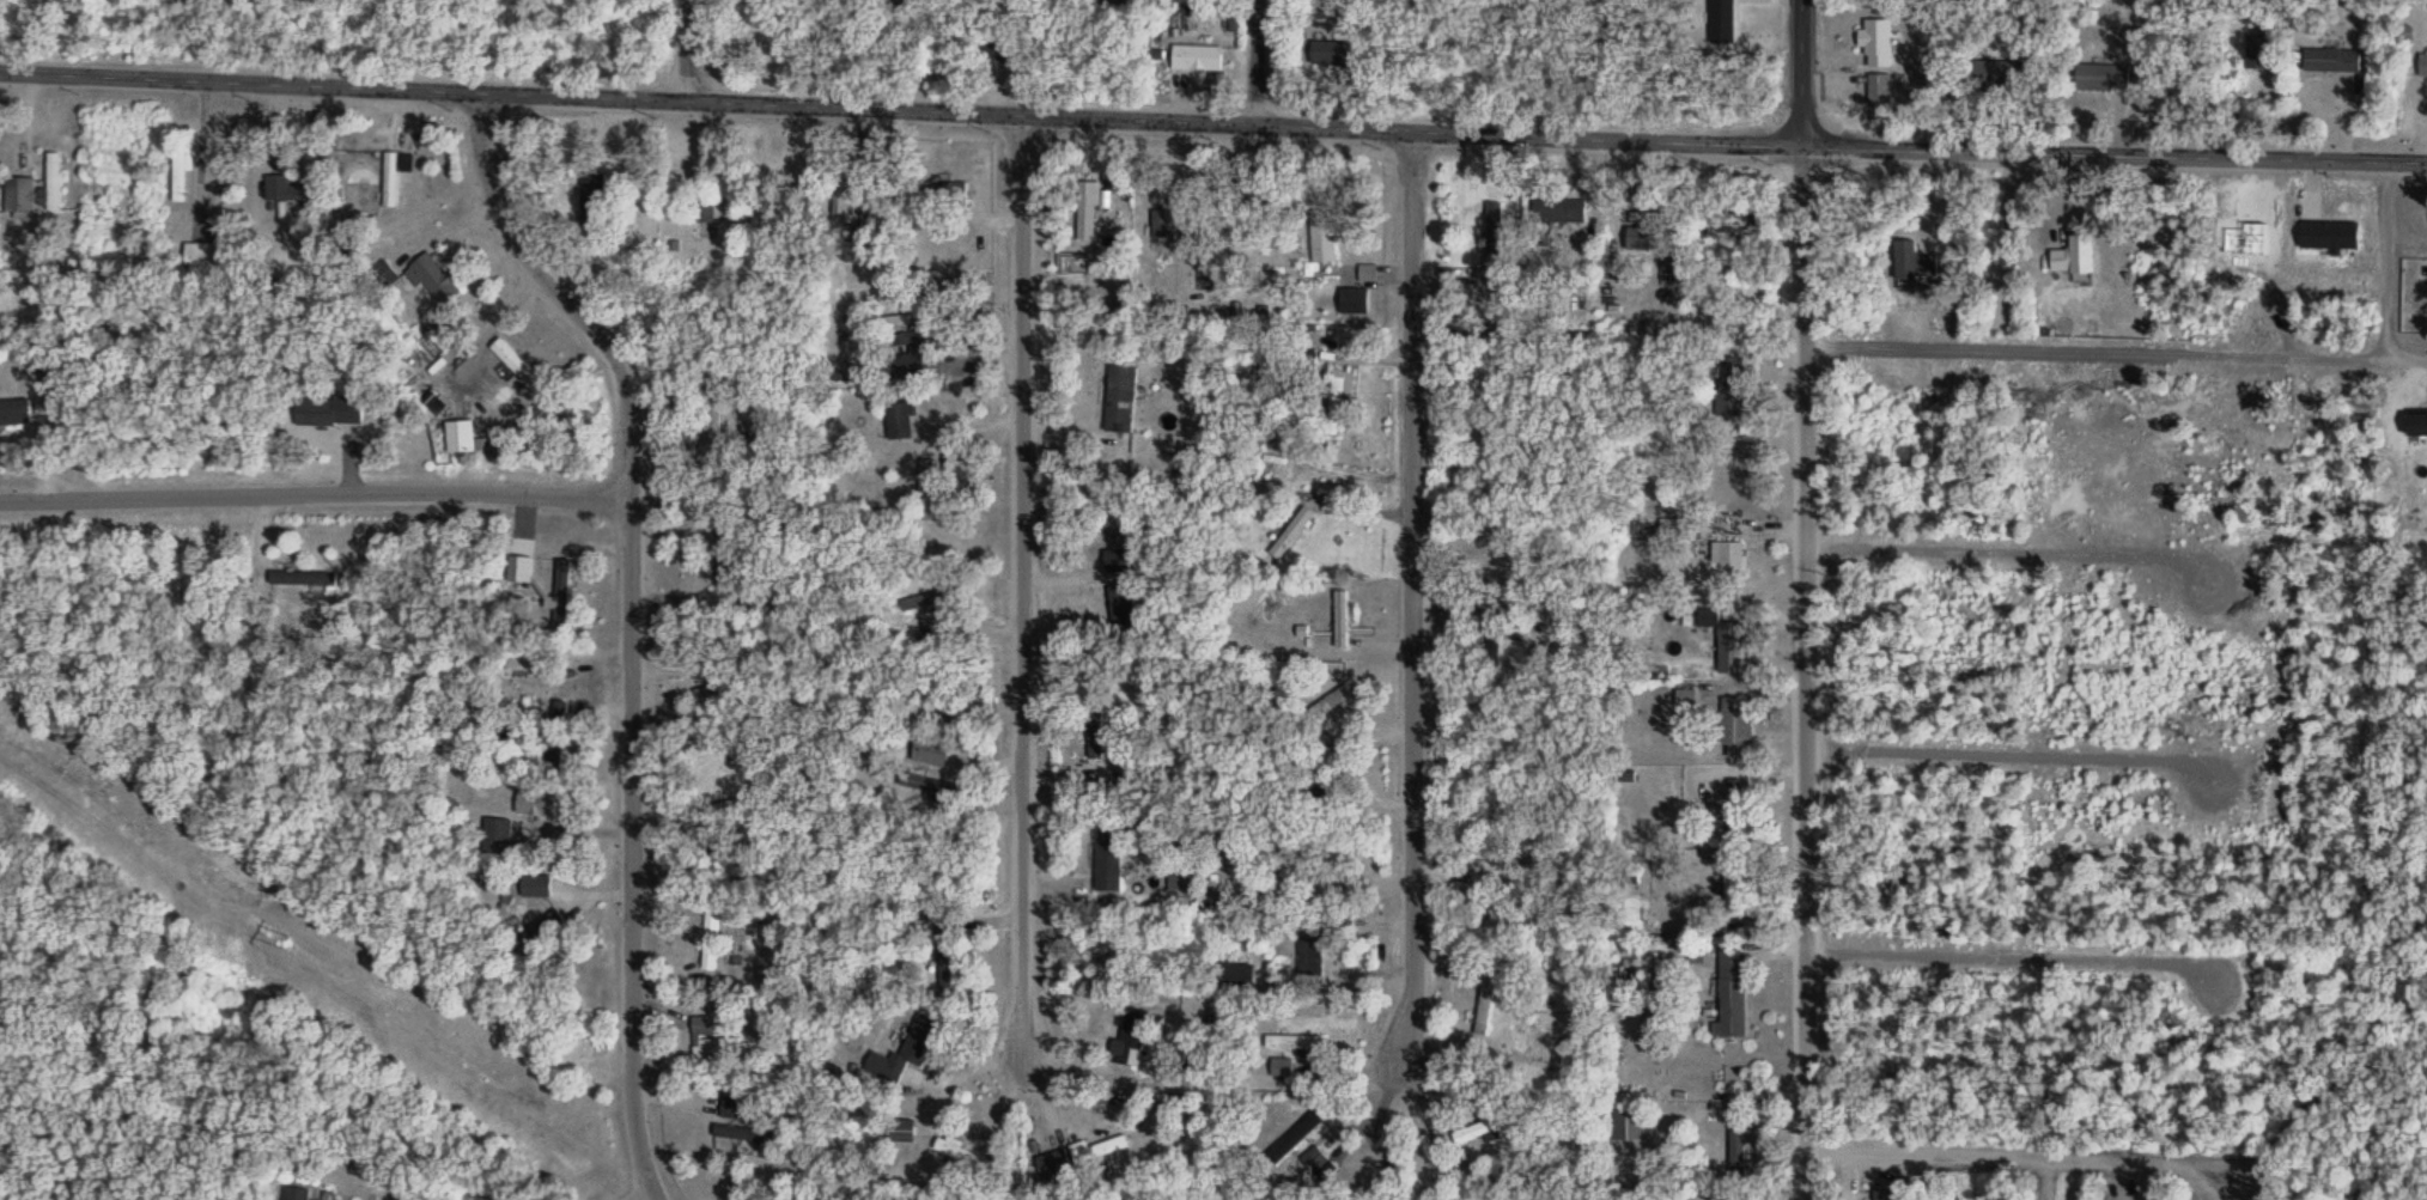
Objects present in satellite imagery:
building: (1878, 45)
road: (702, 51)
building: (2257, 55)
building: (1332, 56)
building: (1197, 61)
road: (1266, 63)
building: (2331, 63)
building: (2422, 66)
road: (1807, 73)
building: (1994, 74)
building: (2103, 80)
building: (1879, 92)
road: (904, 114)
road: (2117, 153)
building: (312, 178)
building: (183, 182)
building: (391, 183)
building: (57, 185)
building: (285, 191)
building: (20, 199)
building: (942, 199)
building: (844, 212)
building: (1558, 214)
building: (1732, 224)
building: (1163, 226)
building: (1642, 236)
building: (1325, 246)
building: (205, 256)
building: (2074, 260)
road: (2383, 262)
building: (1905, 266)
building: (385, 278)
building: (433, 284)
road: (1989, 349)
road: (2298, 361)
building: (513, 364)
building: (1728, 391)
building: (1342, 395)
building: (1120, 402)
building: (328, 415)
building: (14, 416)
building: (714, 420)
building: (899, 425)
building: (460, 440)
road: (320, 494)
road: (2008, 556)
building: (1117, 562)
building: (1730, 564)
building: (311, 584)
building: (561, 596)
building: (925, 604)
road: (1030, 614)
road: (1419, 616)
building: (1342, 622)
road: (639, 627)
building: (1495, 650)
building: (1730, 651)
road: (1811, 672)
building: (1330, 707)
building: (564, 715)
building: (1735, 731)
building: (931, 754)
building: (1095, 754)
road: (2013, 759)
building: (536, 806)
building: (498, 840)
building: (1106, 867)
building: (740, 870)
building: (535, 889)
building: (1729, 896)
power tower: (288, 936)
building: (1312, 958)
building: (713, 961)
road: (2015, 964)
building: (948, 980)
building: (1239, 981)
building: (1732, 998)
building: (1486, 1011)
building: (718, 1044)
building: (1119, 1054)
building: (895, 1064)
building: (735, 1110)
building: (1629, 1127)
building: (902, 1134)
building: (735, 1135)
building: (1476, 1135)
building: (1102, 1153)
building: (965, 1157)
road: (2019, 1161)
road: (2231, 1190)
building: (1885, 1194)
building: (297, 1195)
building: (322, 1199)

